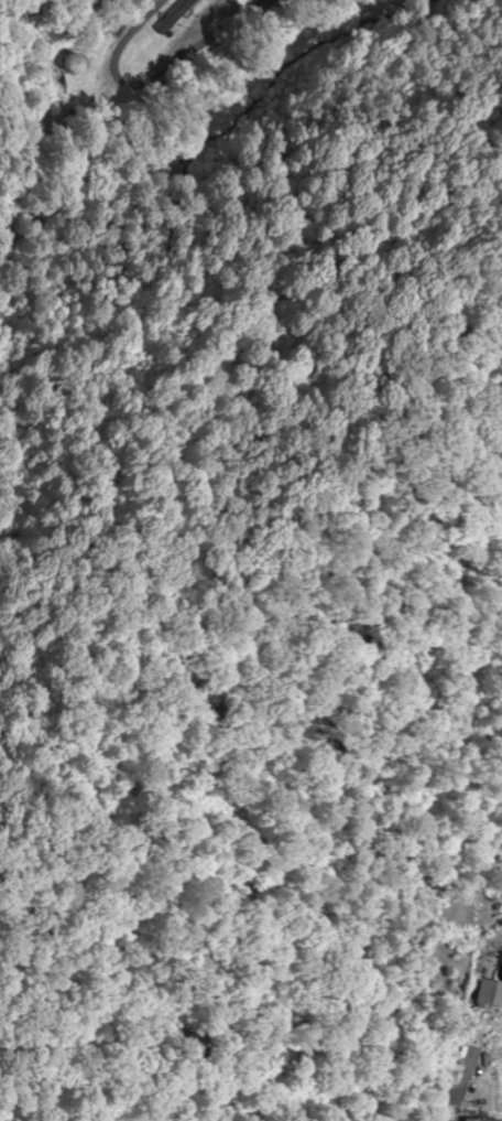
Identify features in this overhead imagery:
building: (172, 13)
building: (79, 65)
road: (153, 75)
building: (490, 990)
building: (481, 1119)

